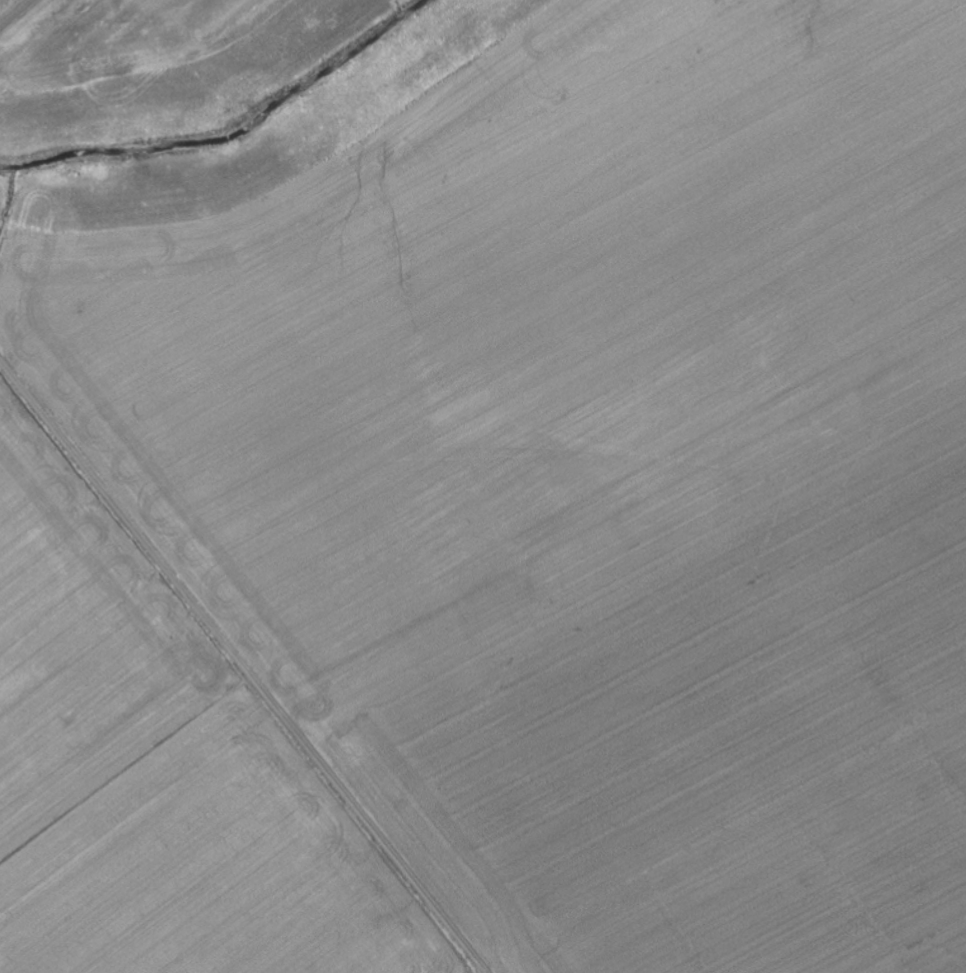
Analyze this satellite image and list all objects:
road: (16, 14)
road: (243, 666)

